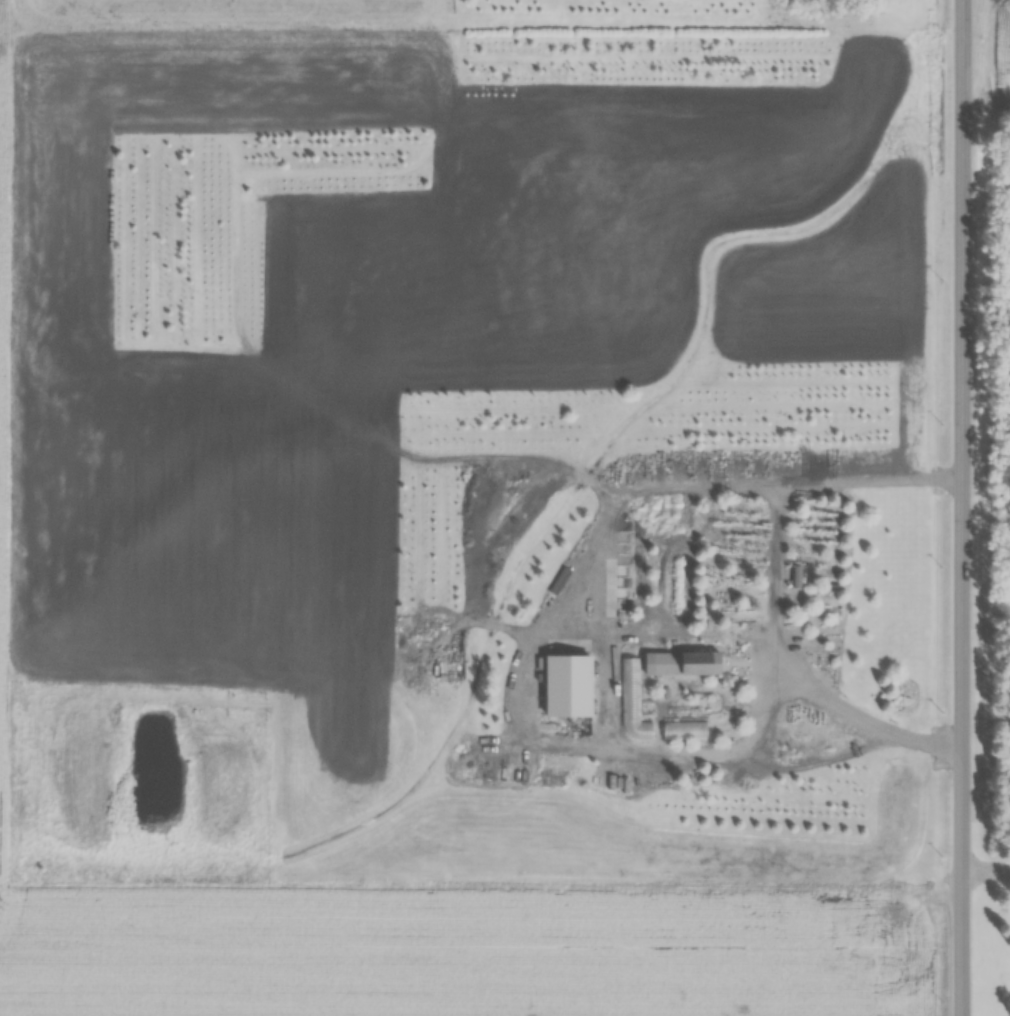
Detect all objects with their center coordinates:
road: (961, 508)
building: (679, 667)
building: (562, 692)
building: (627, 705)
building: (679, 732)

